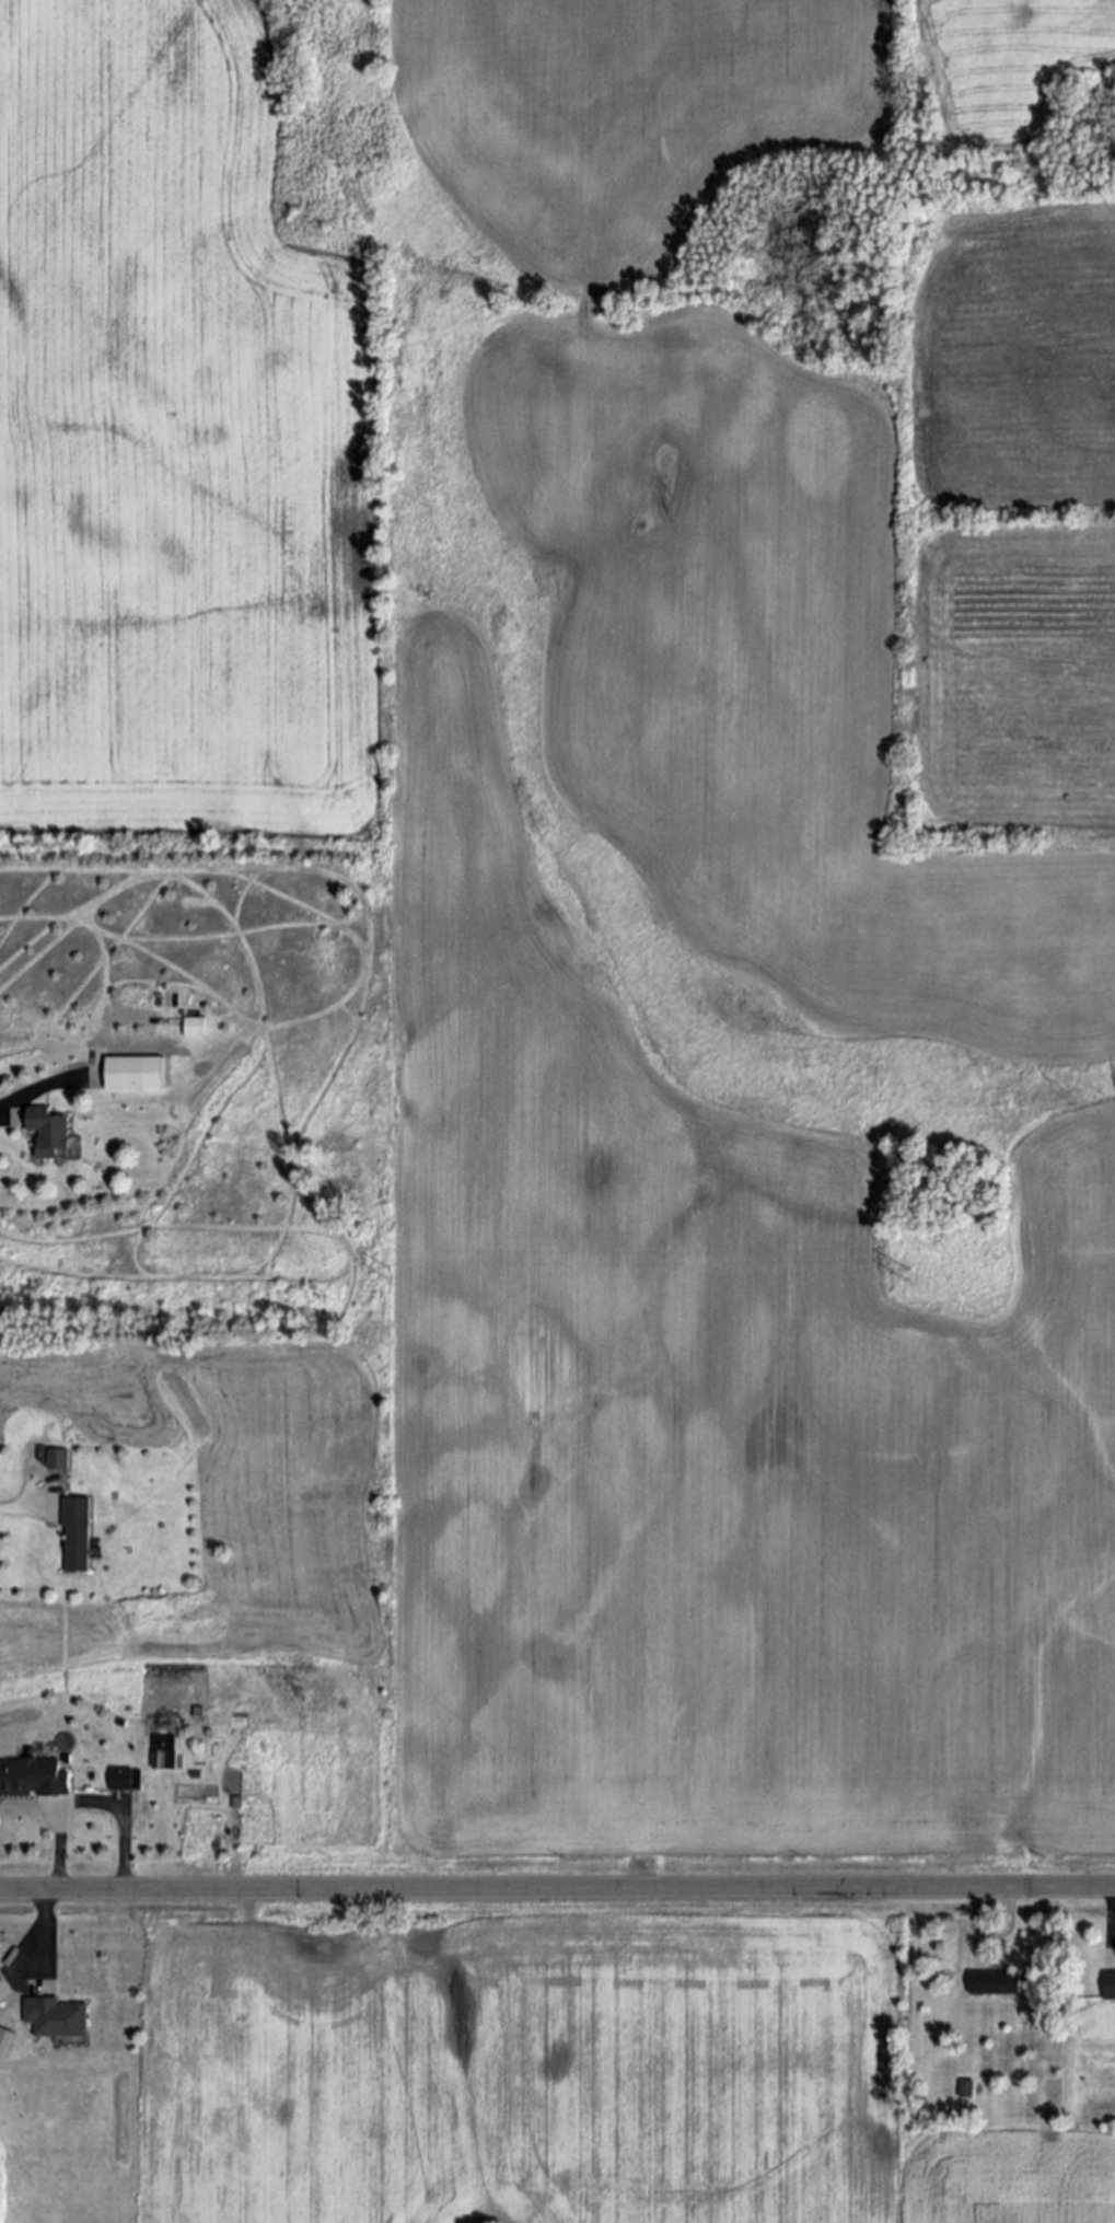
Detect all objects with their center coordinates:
crop: (804, 505)
building: (194, 1027)
building: (126, 1075)
road: (27, 1093)
crop: (533, 1109)
building: (48, 1134)
power tower: (391, 1276)
power tower: (916, 1276)
building: (55, 1460)
road: (21, 1507)
building: (70, 1531)
building: (163, 1753)
building: (33, 1779)
building: (125, 1780)
road: (56, 1808)
road: (557, 1889)
road: (1114, 1917)
road: (977, 1923)
building: (994, 1983)
building: (4, 1988)
building: (1108, 1988)
building: (57, 2019)
building: (5, 2041)
crop: (561, 2070)
building: (966, 2088)

